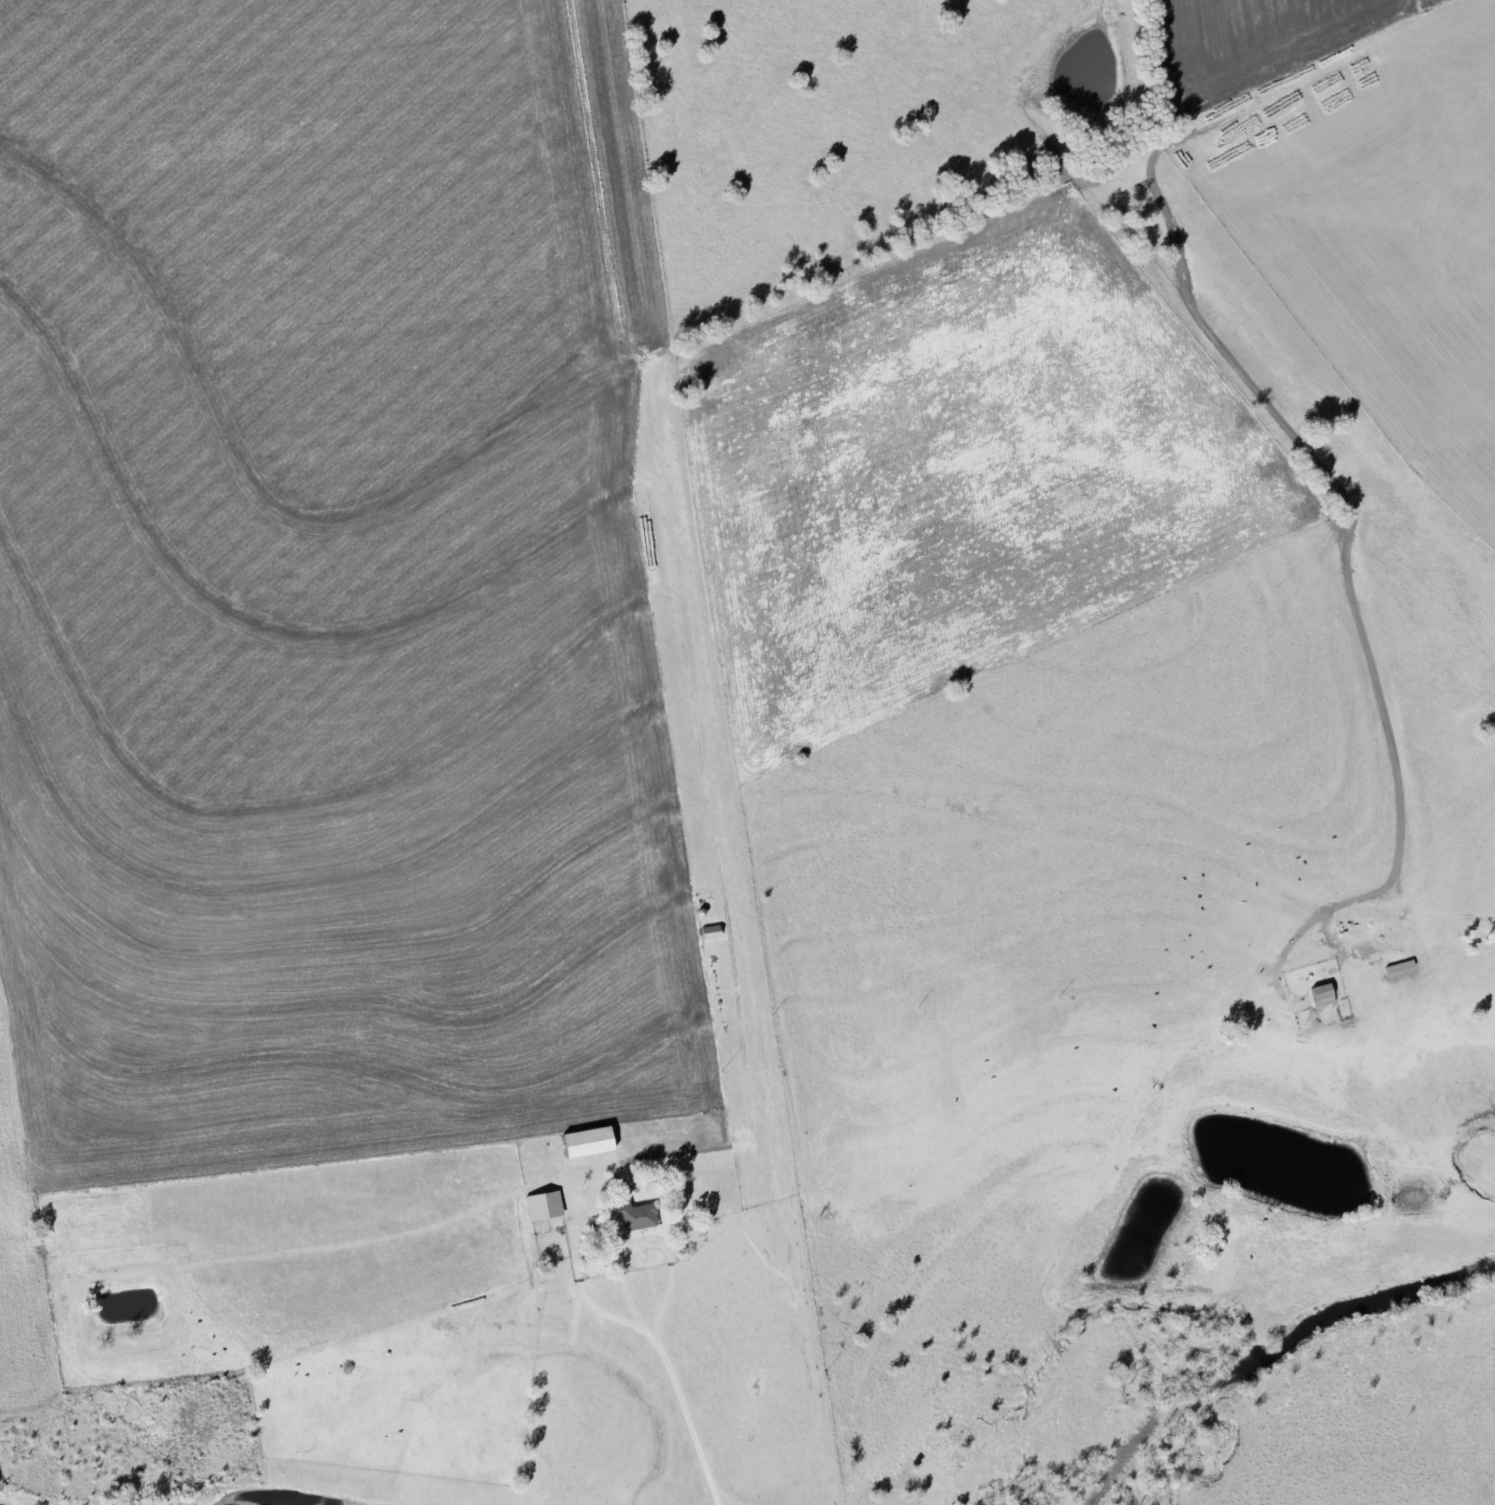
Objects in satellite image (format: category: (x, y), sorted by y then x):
building: (582, 1142)
building: (646, 1184)
building: (541, 1205)
building: (630, 1215)
road: (652, 1339)

